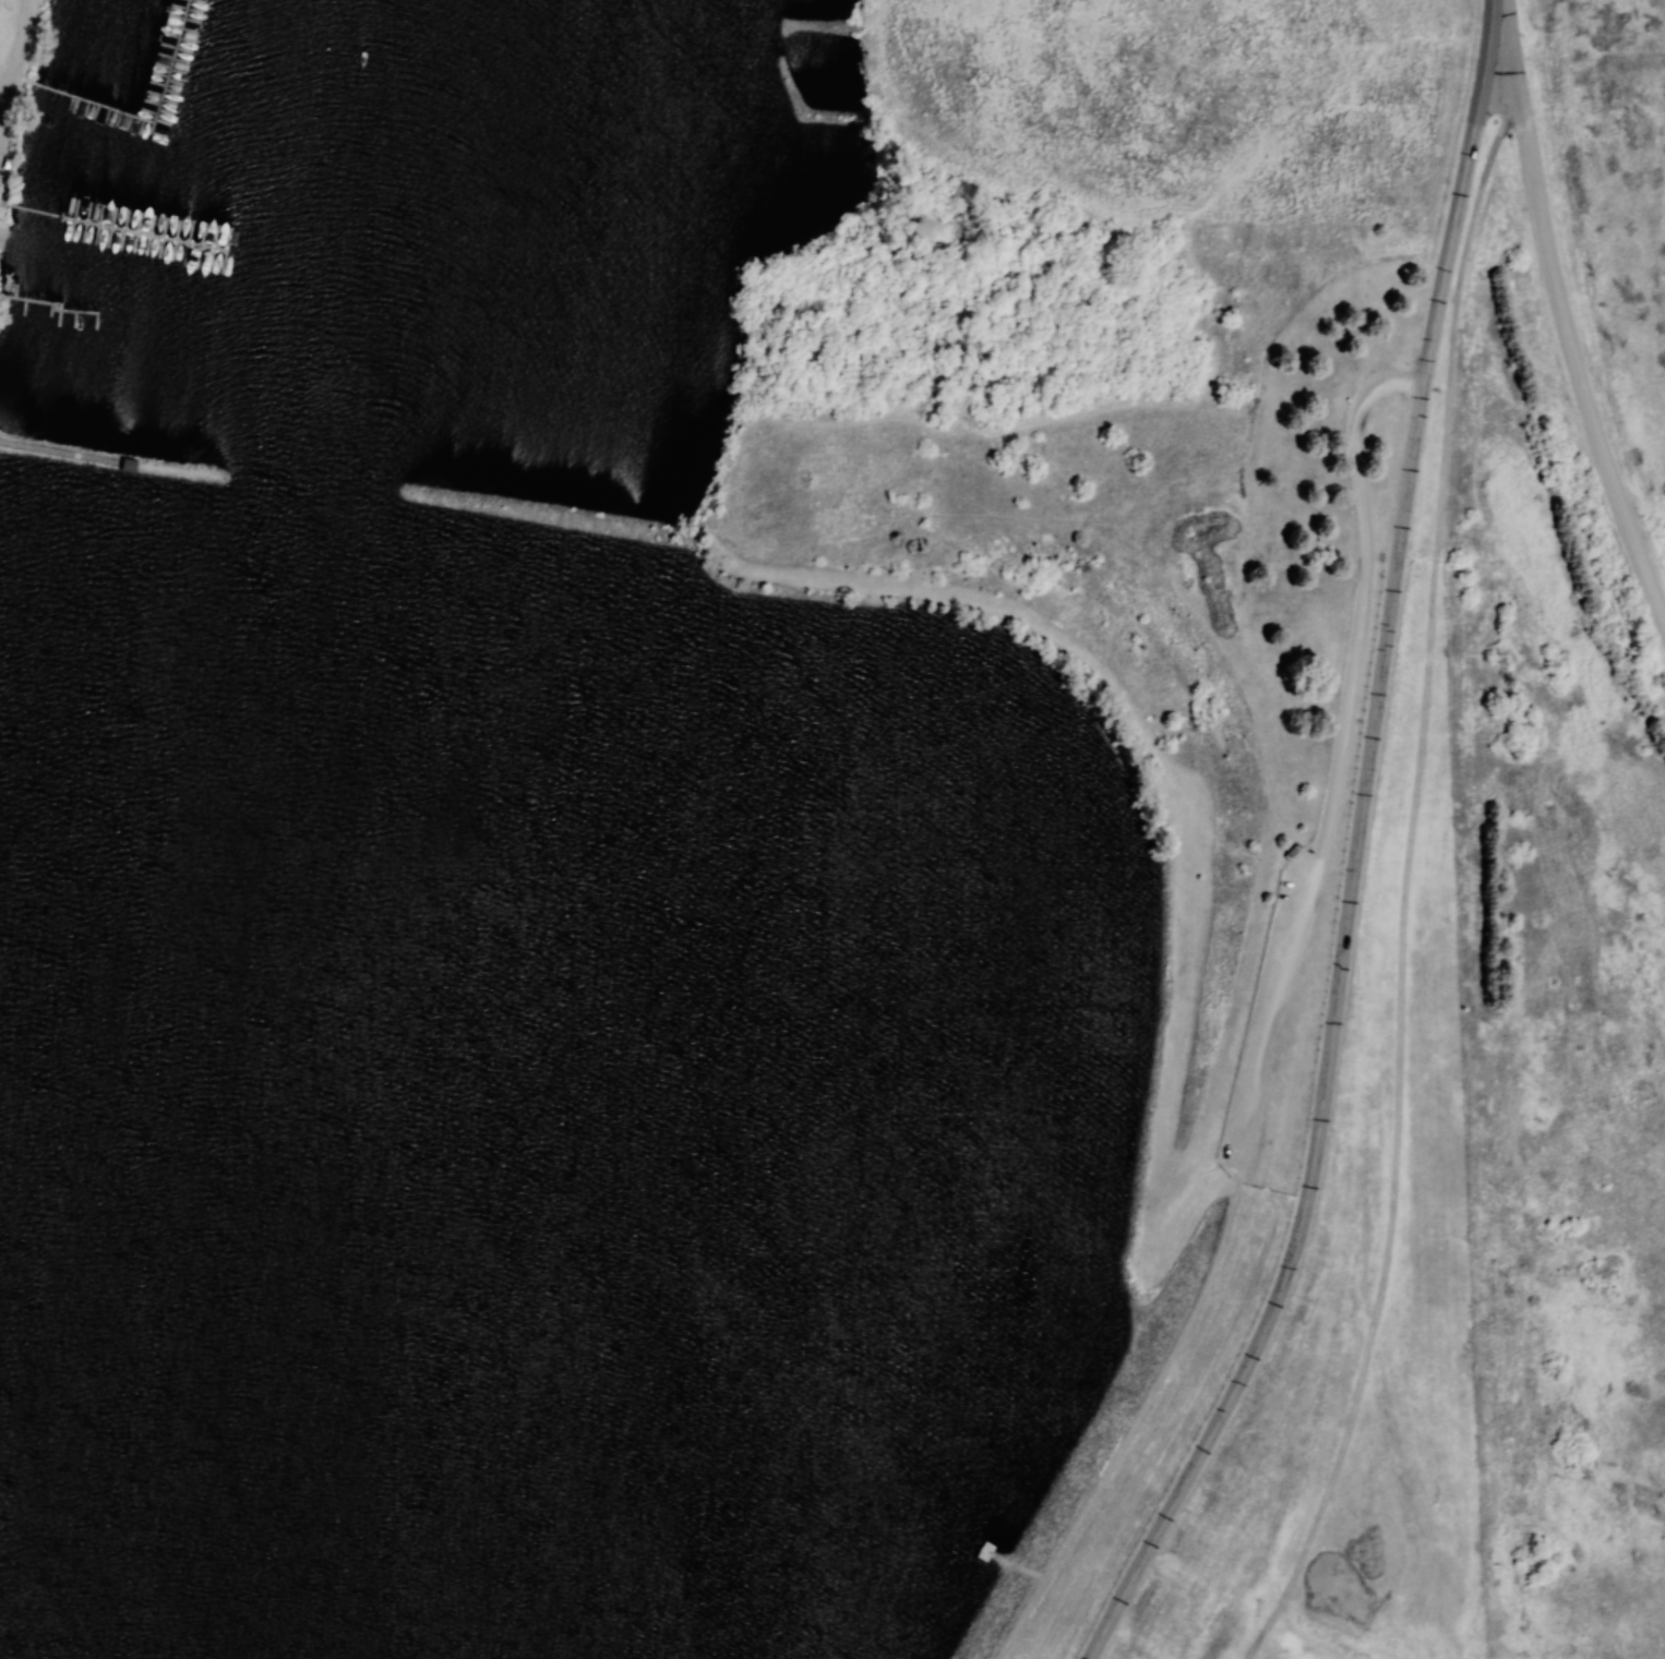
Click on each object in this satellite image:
road: (11, 46)
road: (1564, 312)
park: (673, 793)
road: (1353, 849)
road: (1269, 1025)
river: (572, 1599)
river: (1071, 1599)

